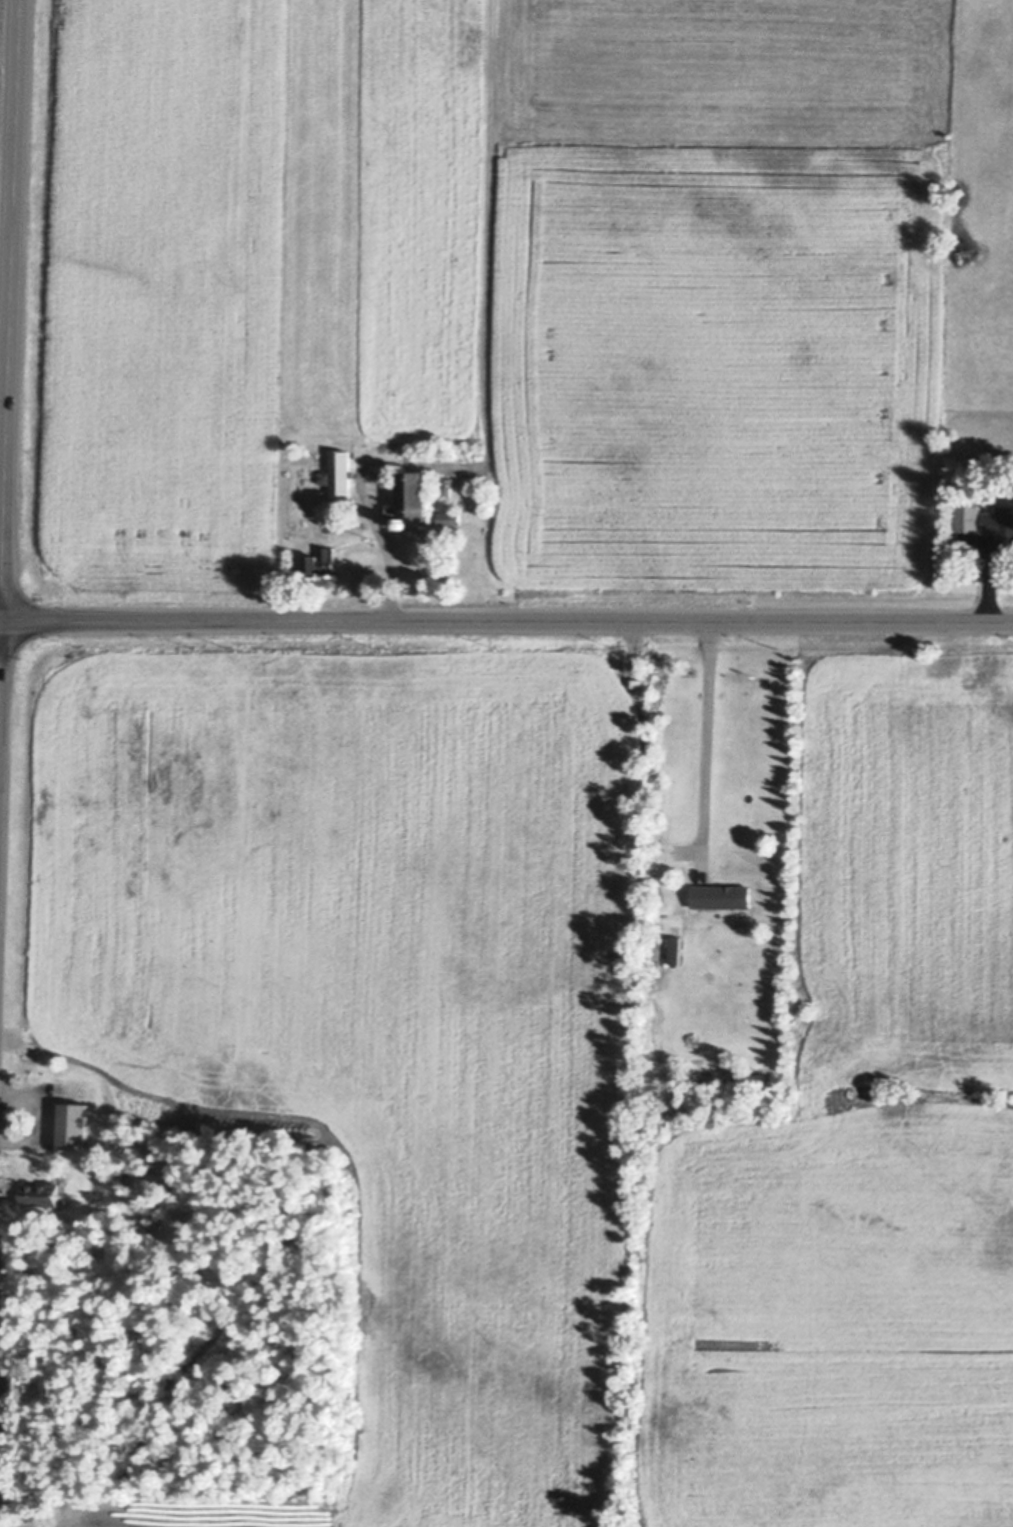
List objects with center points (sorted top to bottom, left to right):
road: (7, 141)
road: (9, 311)
building: (338, 470)
building: (478, 495)
building: (414, 496)
building: (387, 513)
building: (968, 515)
building: (449, 516)
building: (999, 519)
road: (382, 558)
building: (320, 560)
road: (506, 625)
building: (637, 681)
road: (705, 751)
building: (720, 894)
building: (675, 948)
crop: (565, 1069)
building: (72, 1097)
building: (77, 1137)
building: (42, 1193)

